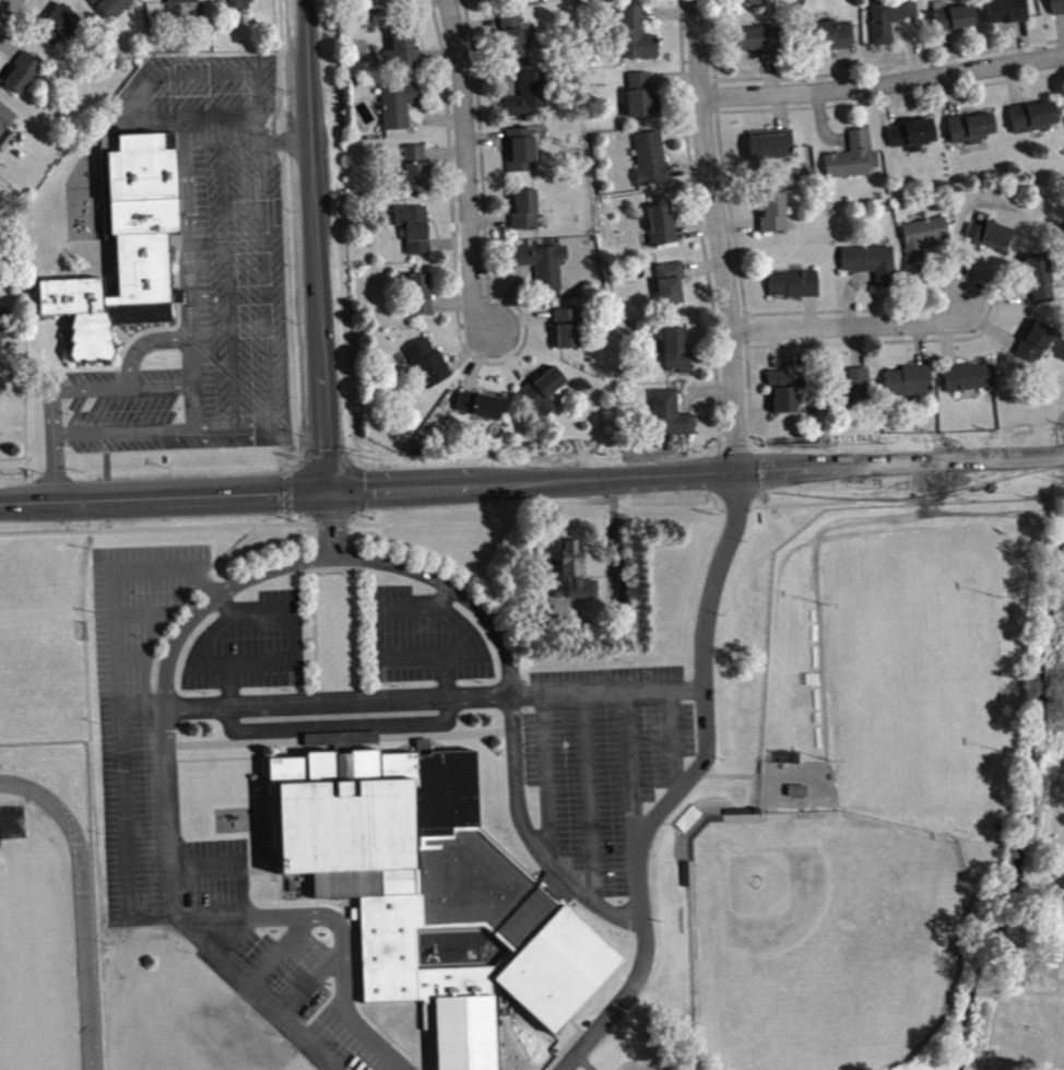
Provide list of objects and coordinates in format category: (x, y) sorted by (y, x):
building: (178, 0)
building: (233, 3)
building: (750, 4)
building: (108, 5)
road: (7, 9)
building: (1057, 9)
building: (1007, 15)
road: (15, 19)
building: (891, 21)
building: (56, 23)
building: (954, 23)
building: (515, 39)
building: (836, 40)
building: (638, 42)
building: (759, 45)
building: (401, 55)
building: (21, 70)
road: (880, 81)
building: (531, 101)
building: (642, 102)
building: (401, 109)
building: (3, 120)
building: (1035, 122)
building: (971, 133)
building: (913, 140)
building: (772, 150)
building: (523, 155)
building: (855, 163)
building: (652, 164)
road: (465, 166)
building: (417, 174)
building: (527, 215)
building: (776, 219)
building: (663, 231)
building: (415, 233)
road: (716, 235)
road: (286, 237)
building: (990, 240)
building: (924, 243)
building: (125, 245)
road: (312, 245)
building: (872, 268)
parking lot: (201, 270)
building: (544, 270)
building: (1040, 285)
building: (672, 289)
building: (795, 290)
building: (422, 299)
road: (851, 325)
road: (189, 328)
building: (3, 331)
building: (568, 334)
building: (4, 340)
road: (141, 343)
building: (1035, 348)
building: (678, 356)
building: (429, 368)
building: (970, 383)
building: (909, 386)
building: (858, 393)
building: (545, 397)
building: (783, 399)
building: (481, 410)
building: (671, 421)
road: (531, 480)
traffic signals: (326, 491)
road: (329, 522)
building: (577, 578)
road: (452, 589)
road: (215, 597)
road: (379, 633)
parking lot: (423, 636)
road: (472, 648)
road: (280, 661)
park: (912, 672)
road: (230, 684)
road: (605, 690)
road: (336, 701)
road: (118, 705)
road: (704, 707)
road: (142, 708)
road: (672, 740)
parking lot: (601, 759)
parking lot: (130, 764)
road: (631, 769)
road: (544, 777)
road: (588, 796)
building: (360, 812)
road: (529, 836)
road: (241, 889)
building: (509, 920)
road: (178, 921)
road: (236, 934)
park: (823, 937)
road: (275, 949)
road: (391, 957)
track: (84, 966)
road: (318, 973)
road: (351, 1001)
road: (616, 1002)
road: (387, 1028)
road: (434, 1044)

